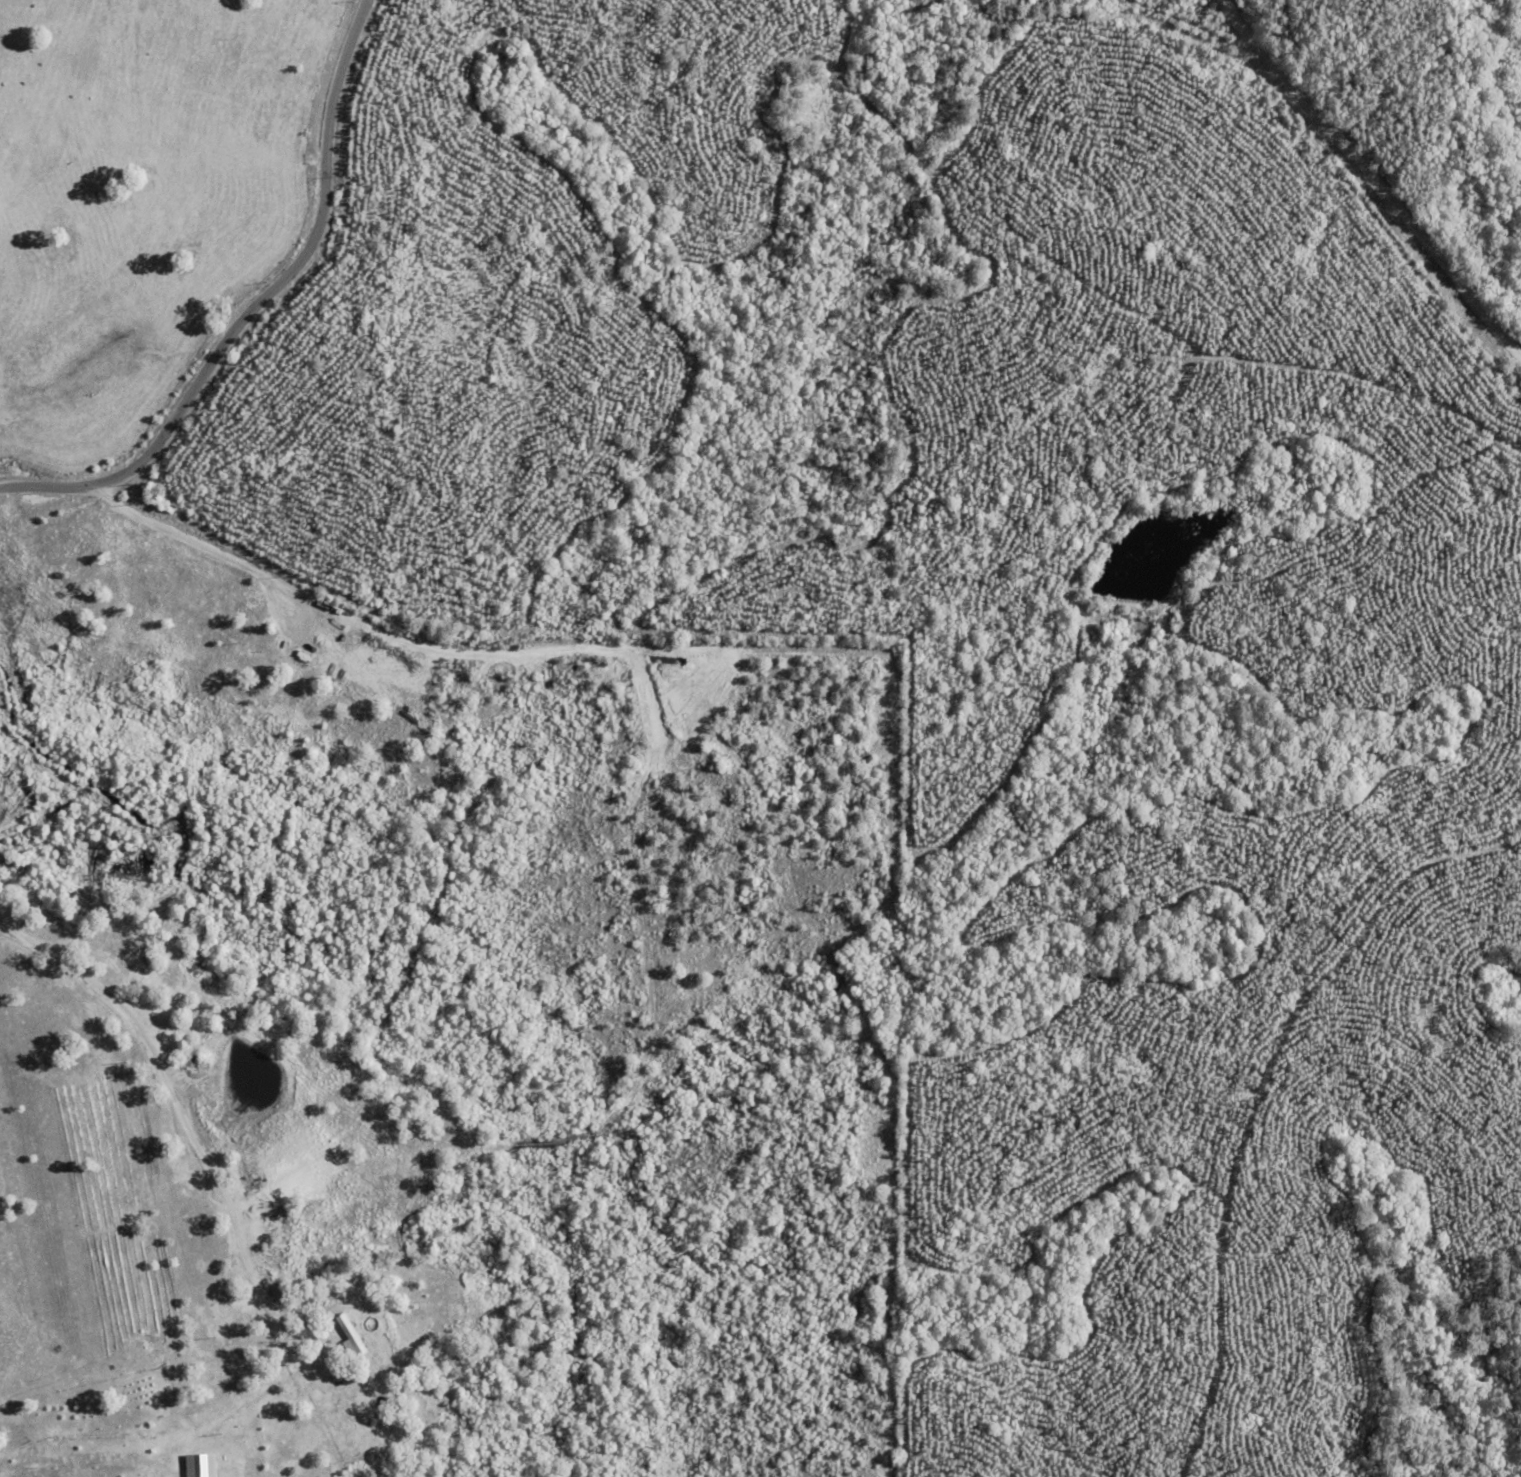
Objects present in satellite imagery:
road: (1371, 178)
road: (254, 308)
building: (349, 1334)
building: (199, 1465)

